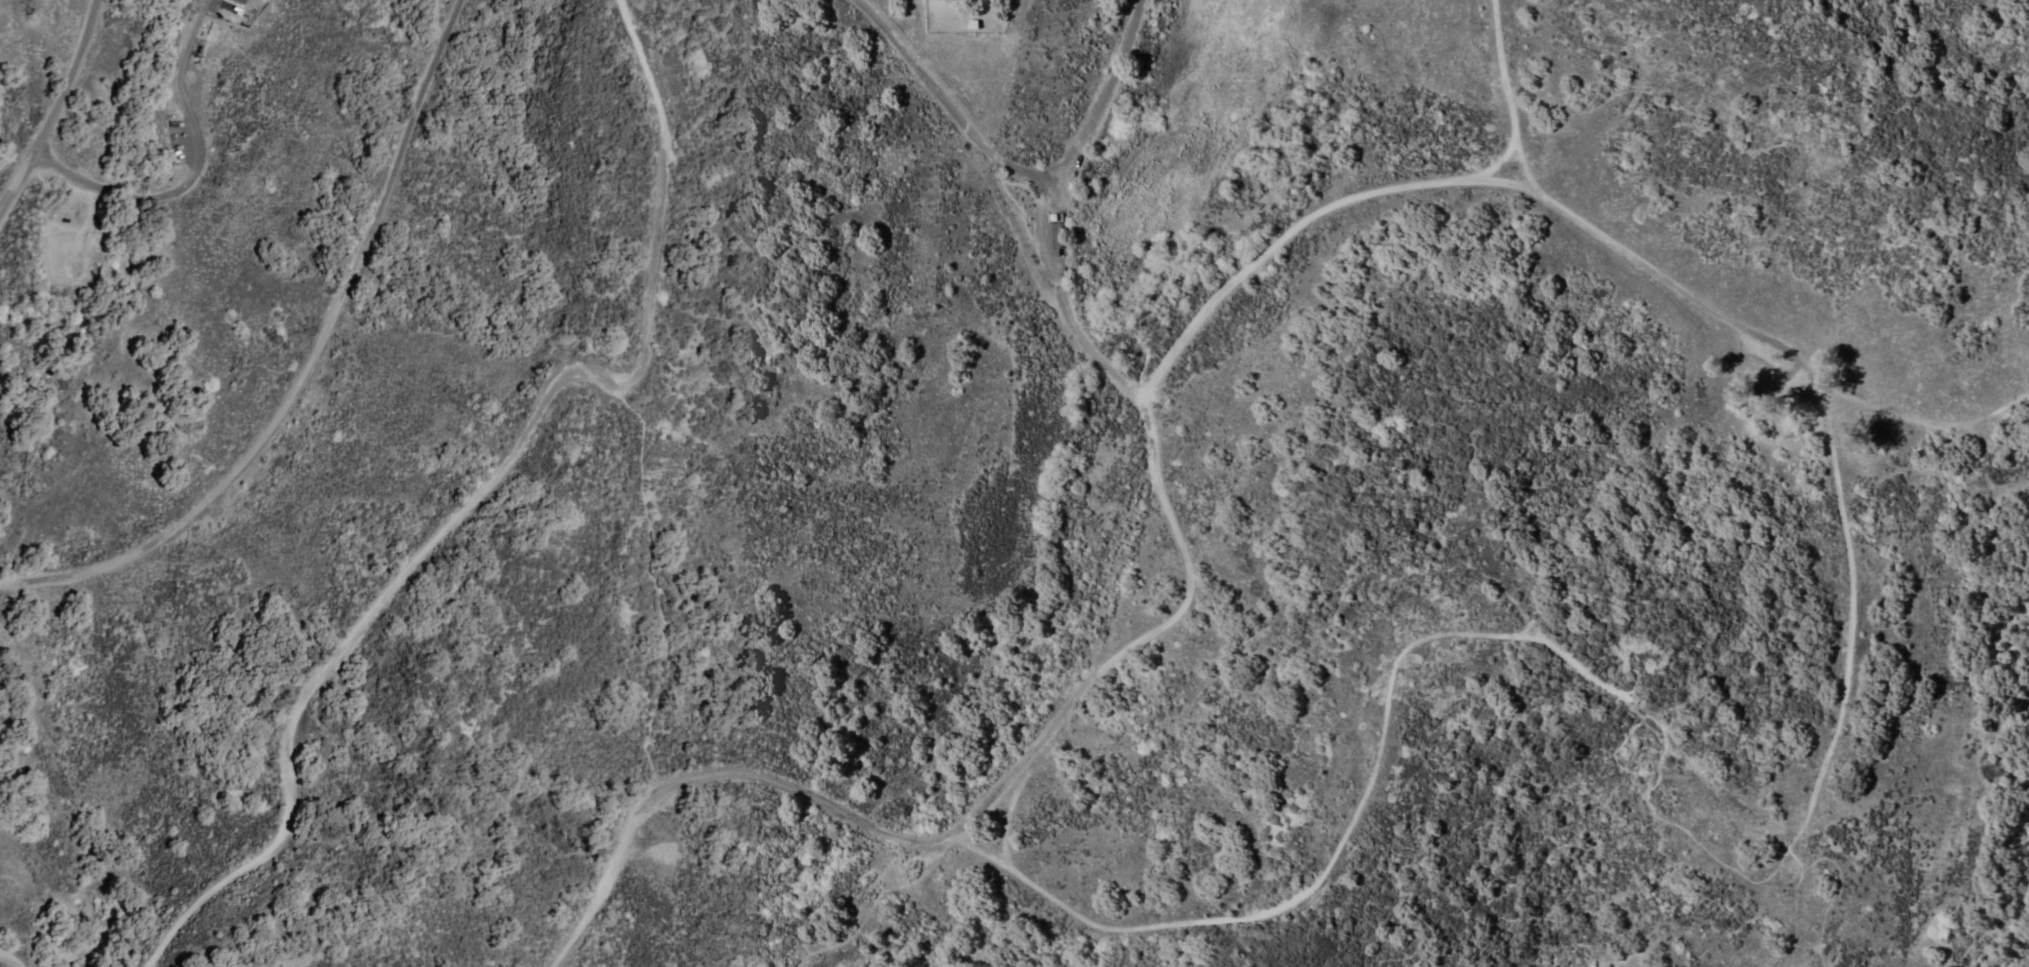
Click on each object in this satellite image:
road: (67, 81)
road: (1495, 96)
road: (949, 100)
road: (193, 172)
road: (15, 187)
road: (1040, 205)
building: (1050, 237)
road: (1718, 307)
road: (294, 358)
road: (478, 492)
road: (658, 581)
road: (1391, 672)
road: (955, 834)
road: (13, 955)

